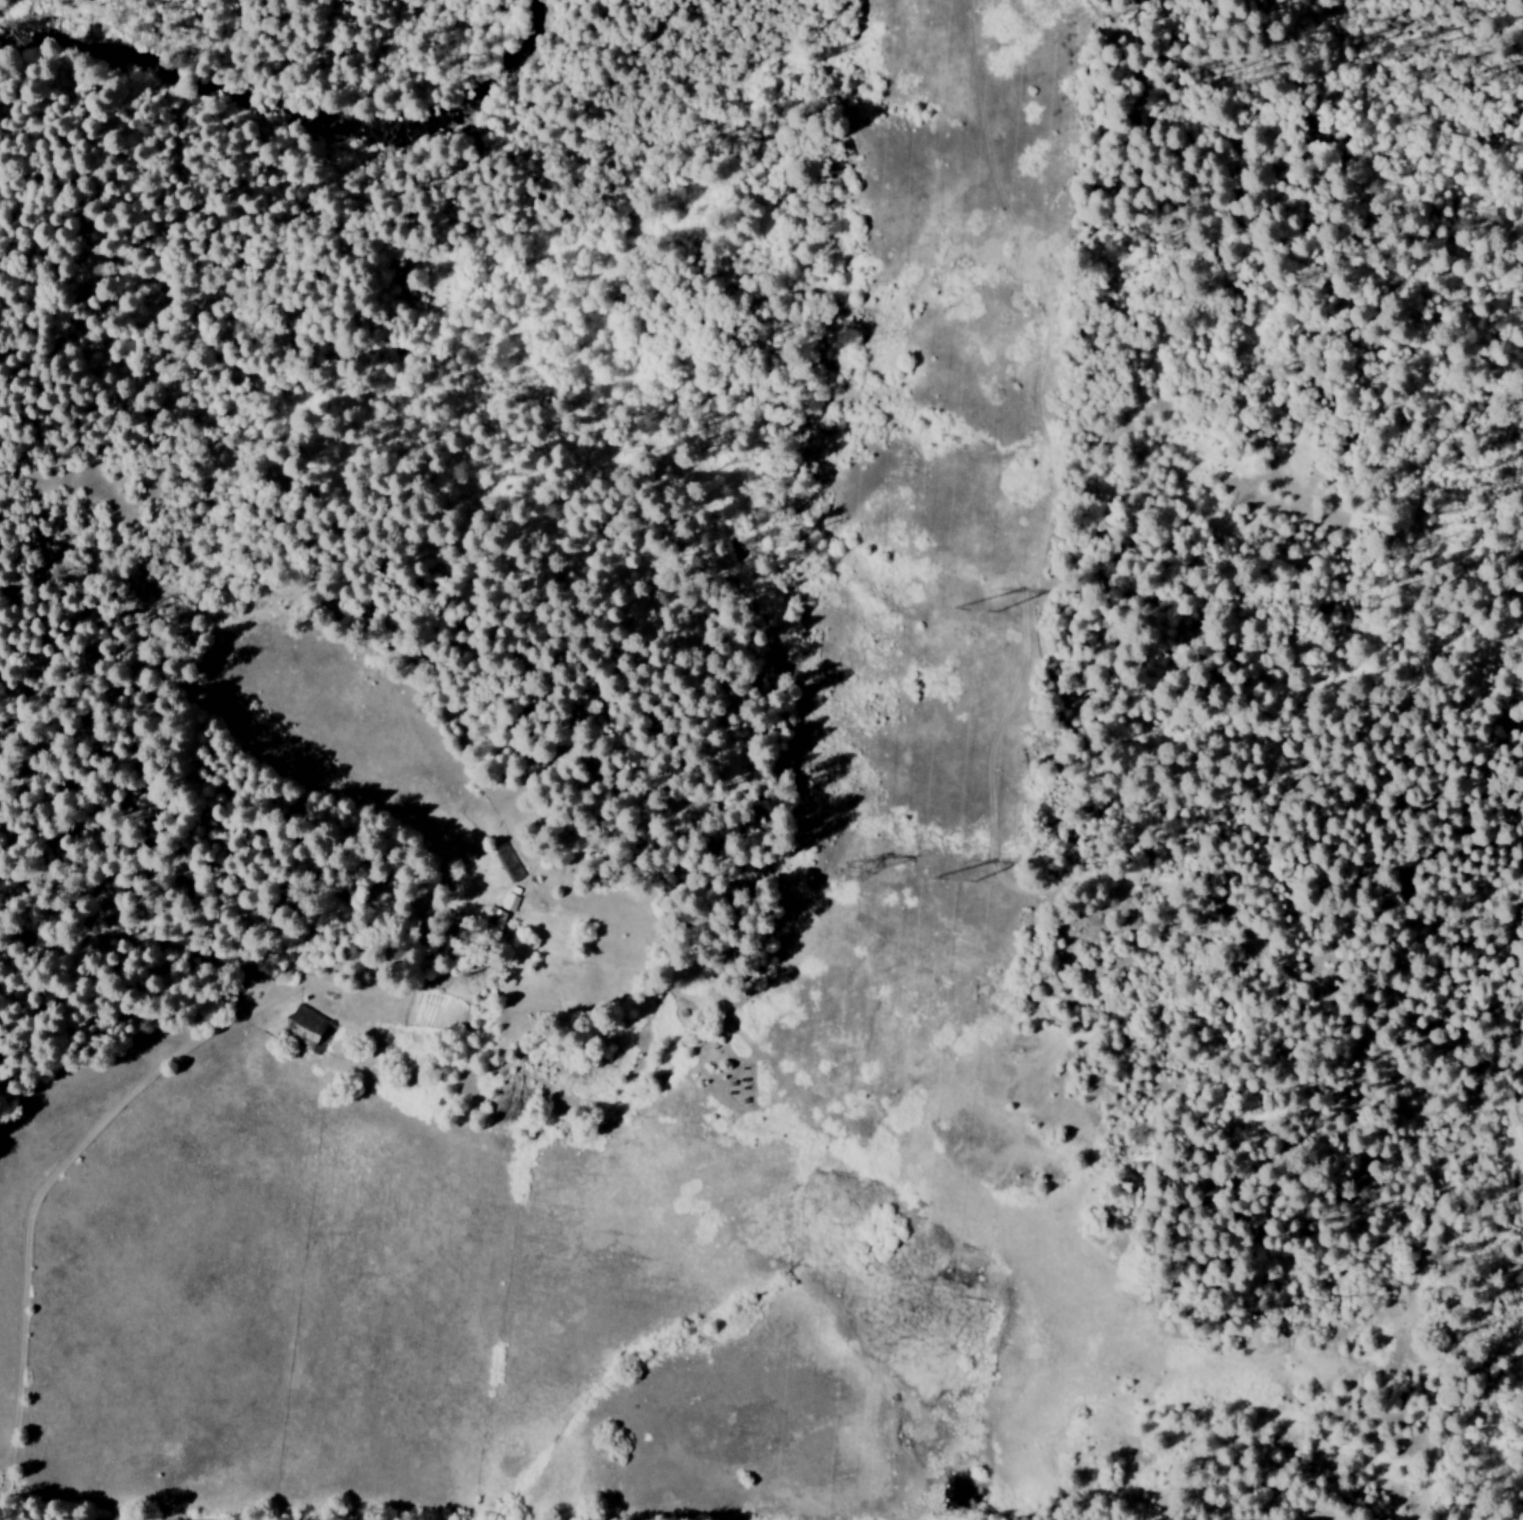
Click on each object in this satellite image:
power tower: (962, 599)
power tower: (838, 854)
power tower: (938, 870)
building: (311, 1030)
road: (9, 1267)

